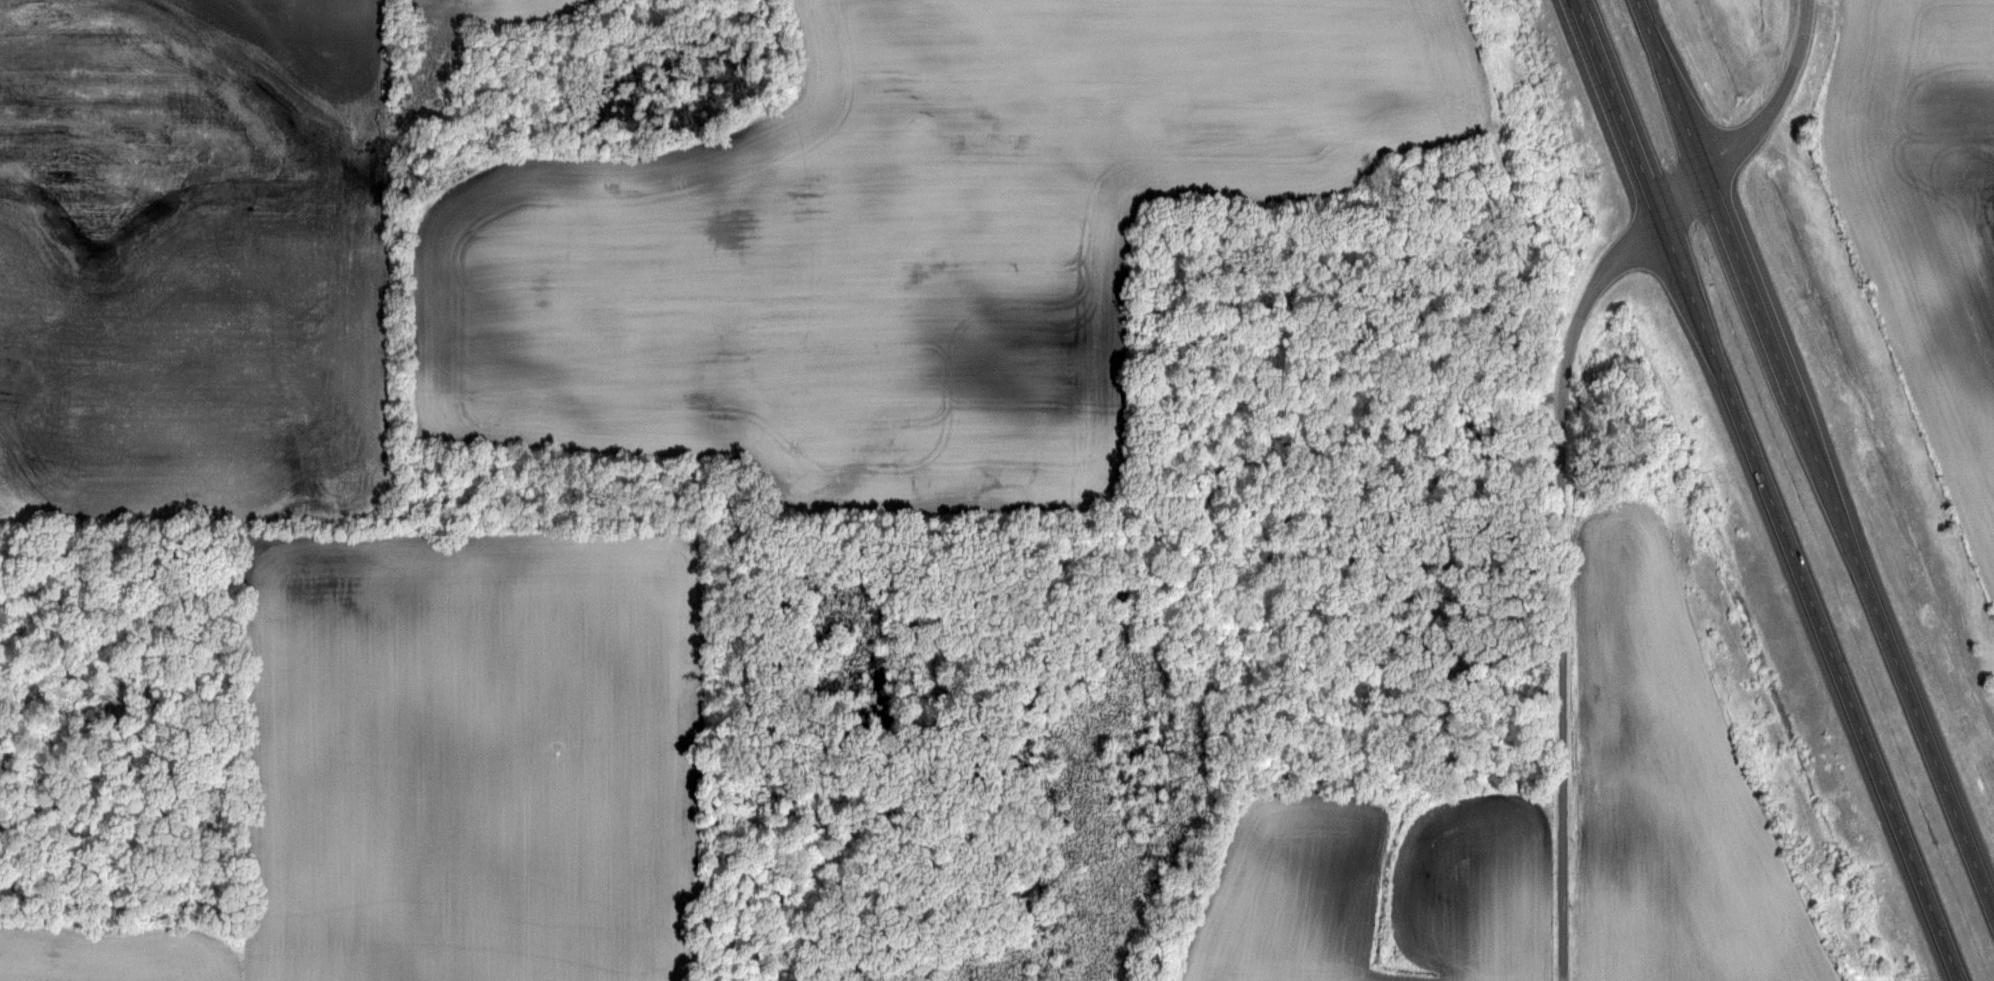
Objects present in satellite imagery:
road: (1560, 446)
road: (1816, 455)
road: (1767, 490)

